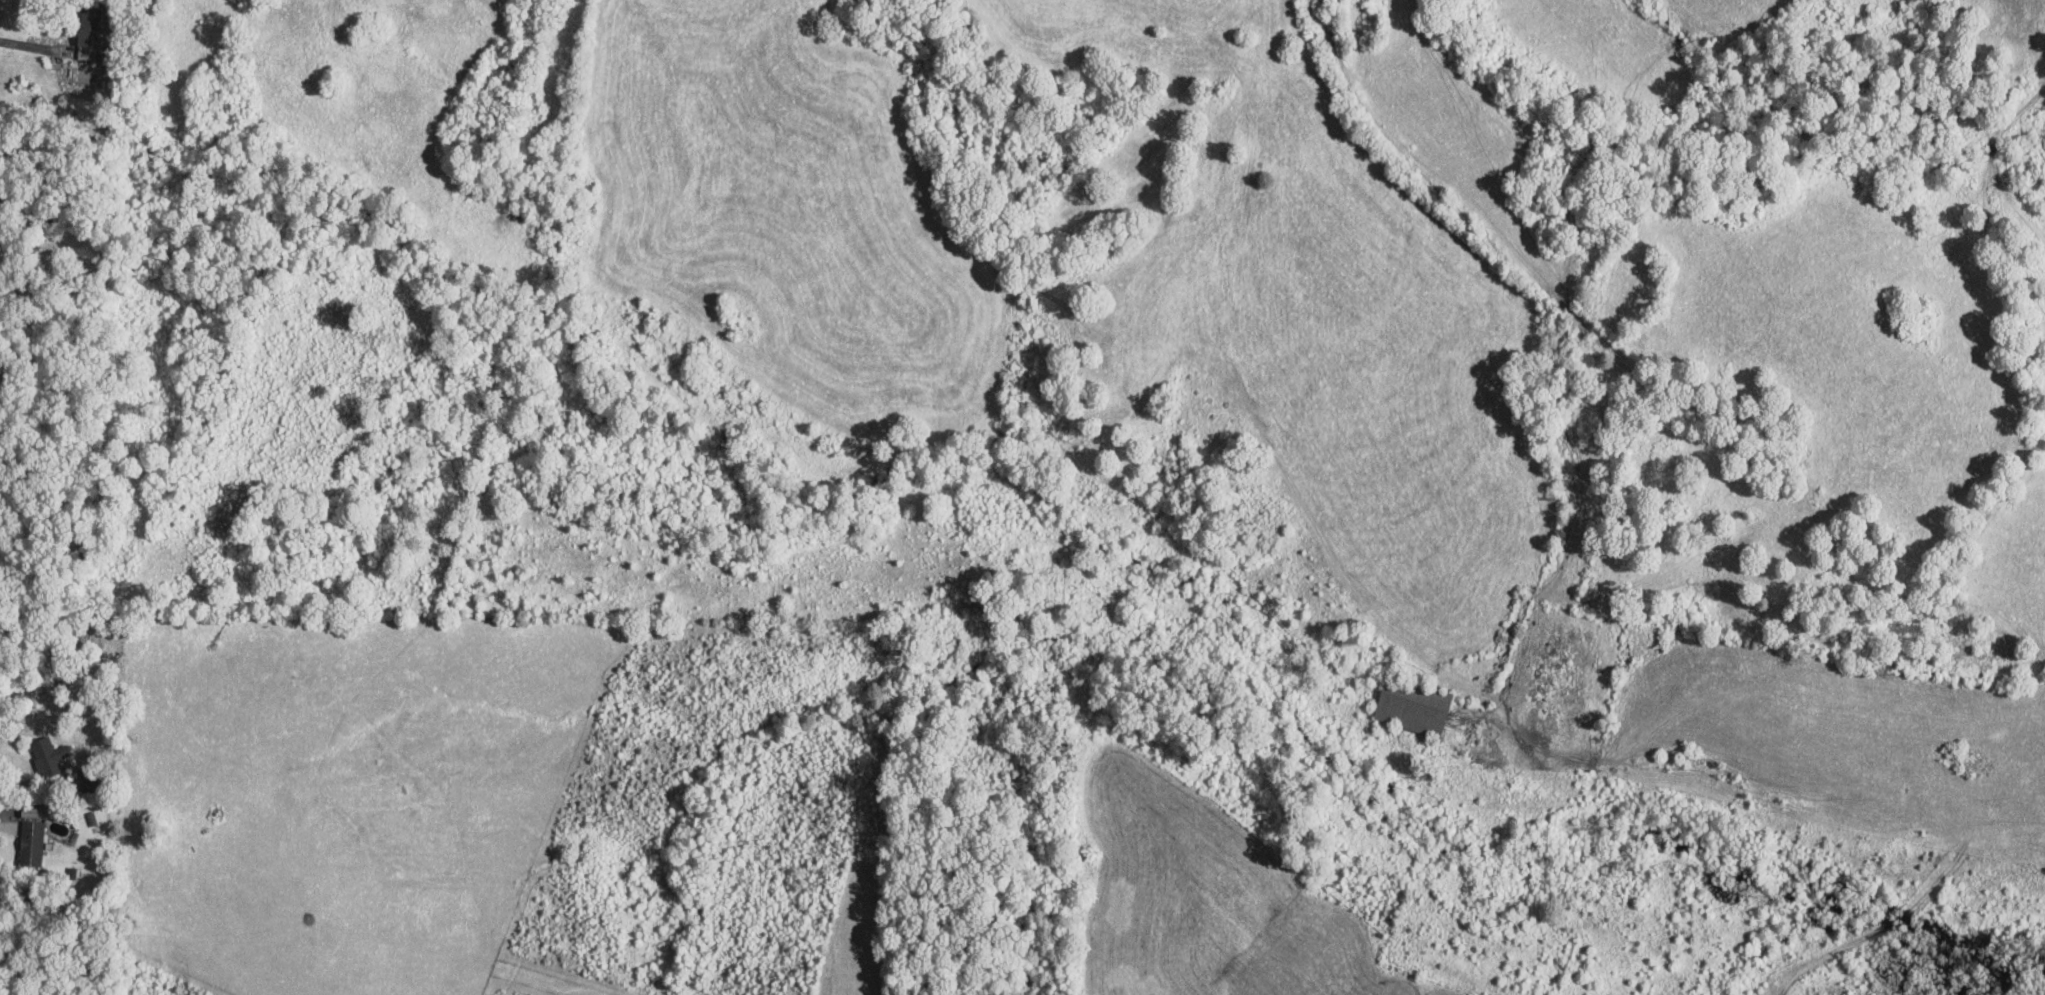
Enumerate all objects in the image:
building: (87, 32)
road: (32, 45)
building: (1411, 708)
building: (46, 755)
building: (31, 840)

